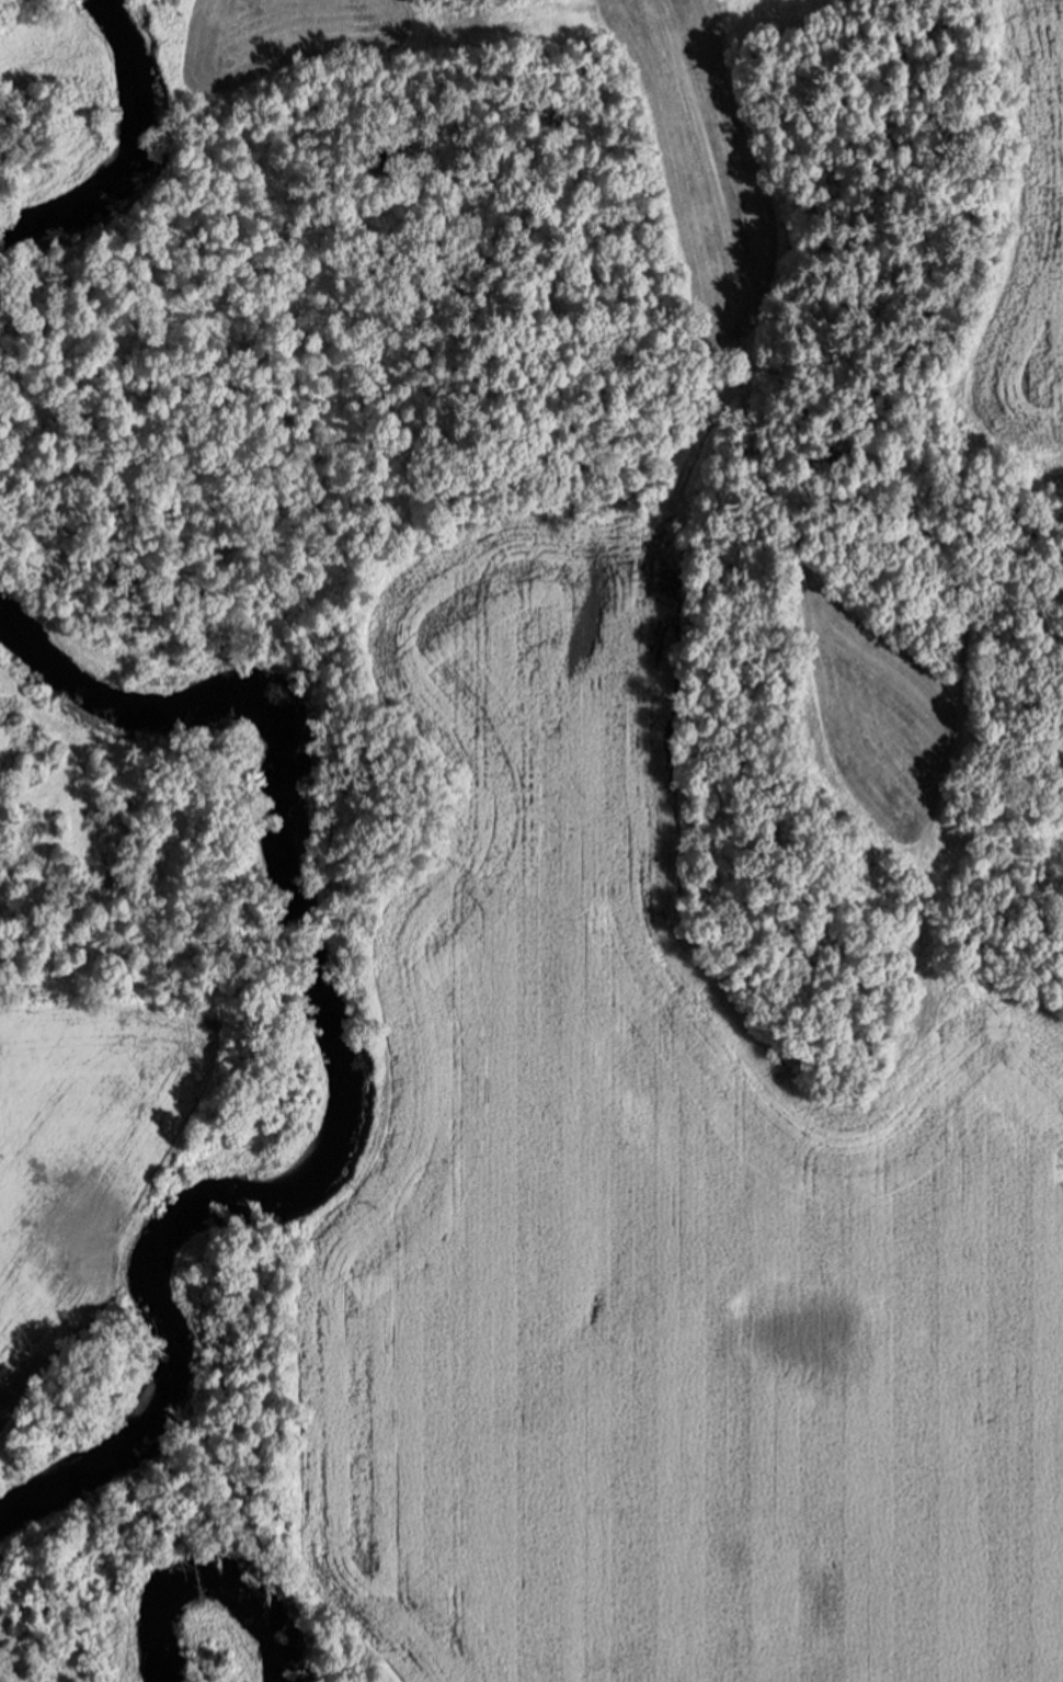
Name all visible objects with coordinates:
river: (126, 148)
river: (339, 1047)
river: (206, 1586)

